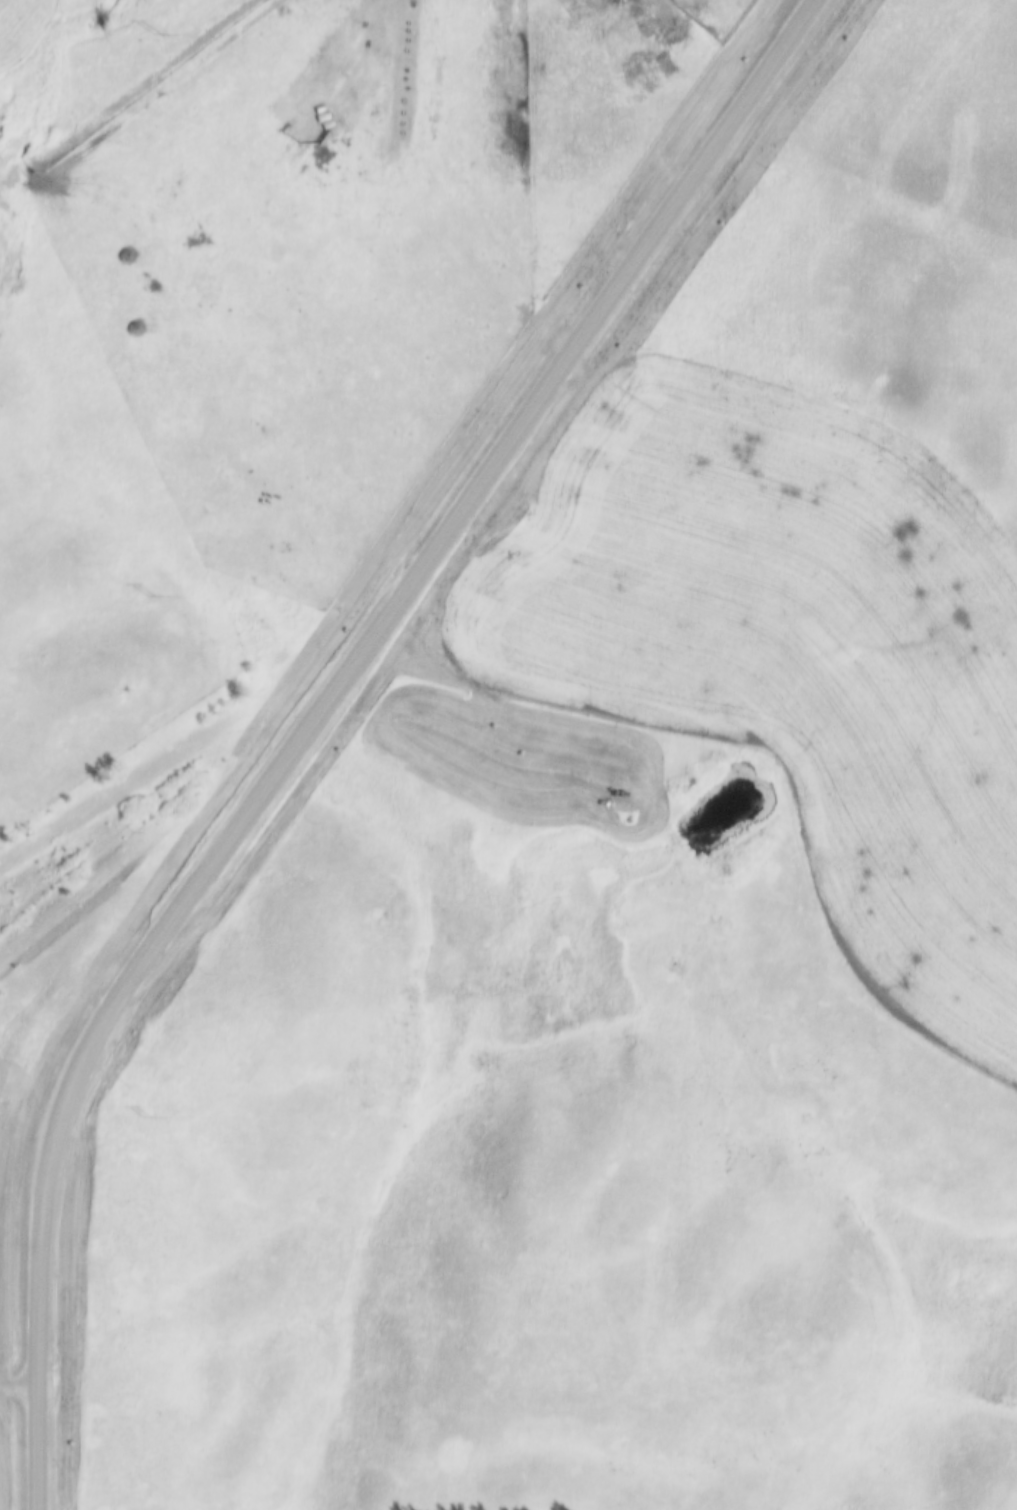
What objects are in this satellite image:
power tower: (157, 35)
road: (515, 438)
power tower: (150, 597)
power tower: (148, 1120)
road: (48, 1170)

